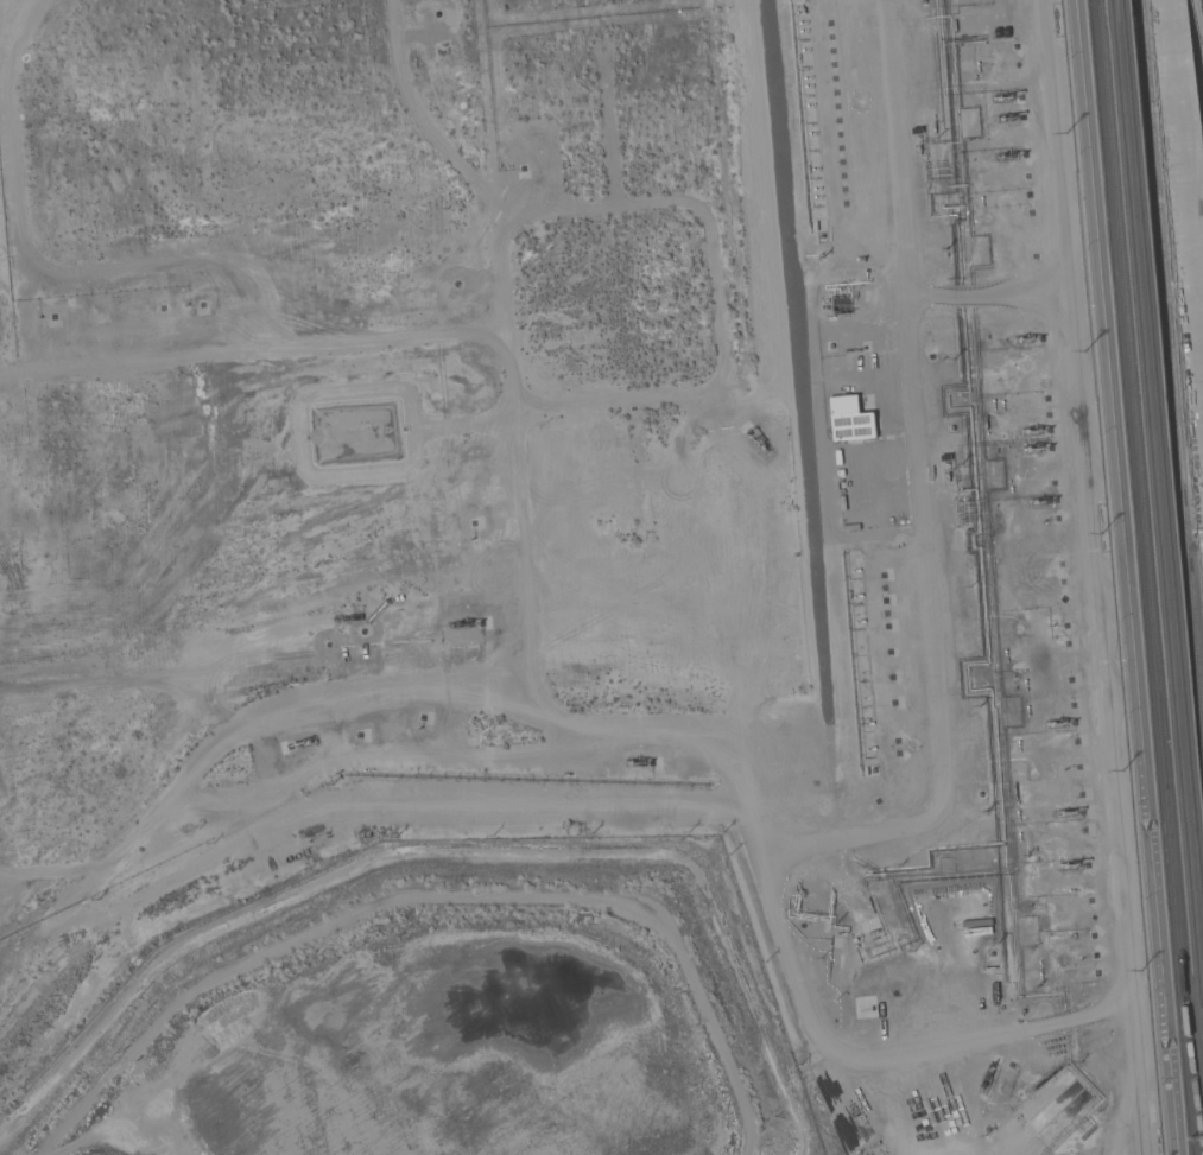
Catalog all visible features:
railway: (1117, 11)
railway: (1128, 11)
road: (1185, 183)
road: (1005, 285)
railway: (1172, 345)
building: (850, 419)
petroleum well: (758, 440)
railway: (1167, 450)
railway: (1160, 497)
railway: (1150, 561)
road: (1127, 577)
road: (942, 760)
railway: (1201, 991)
petroleum well: (984, 1077)

